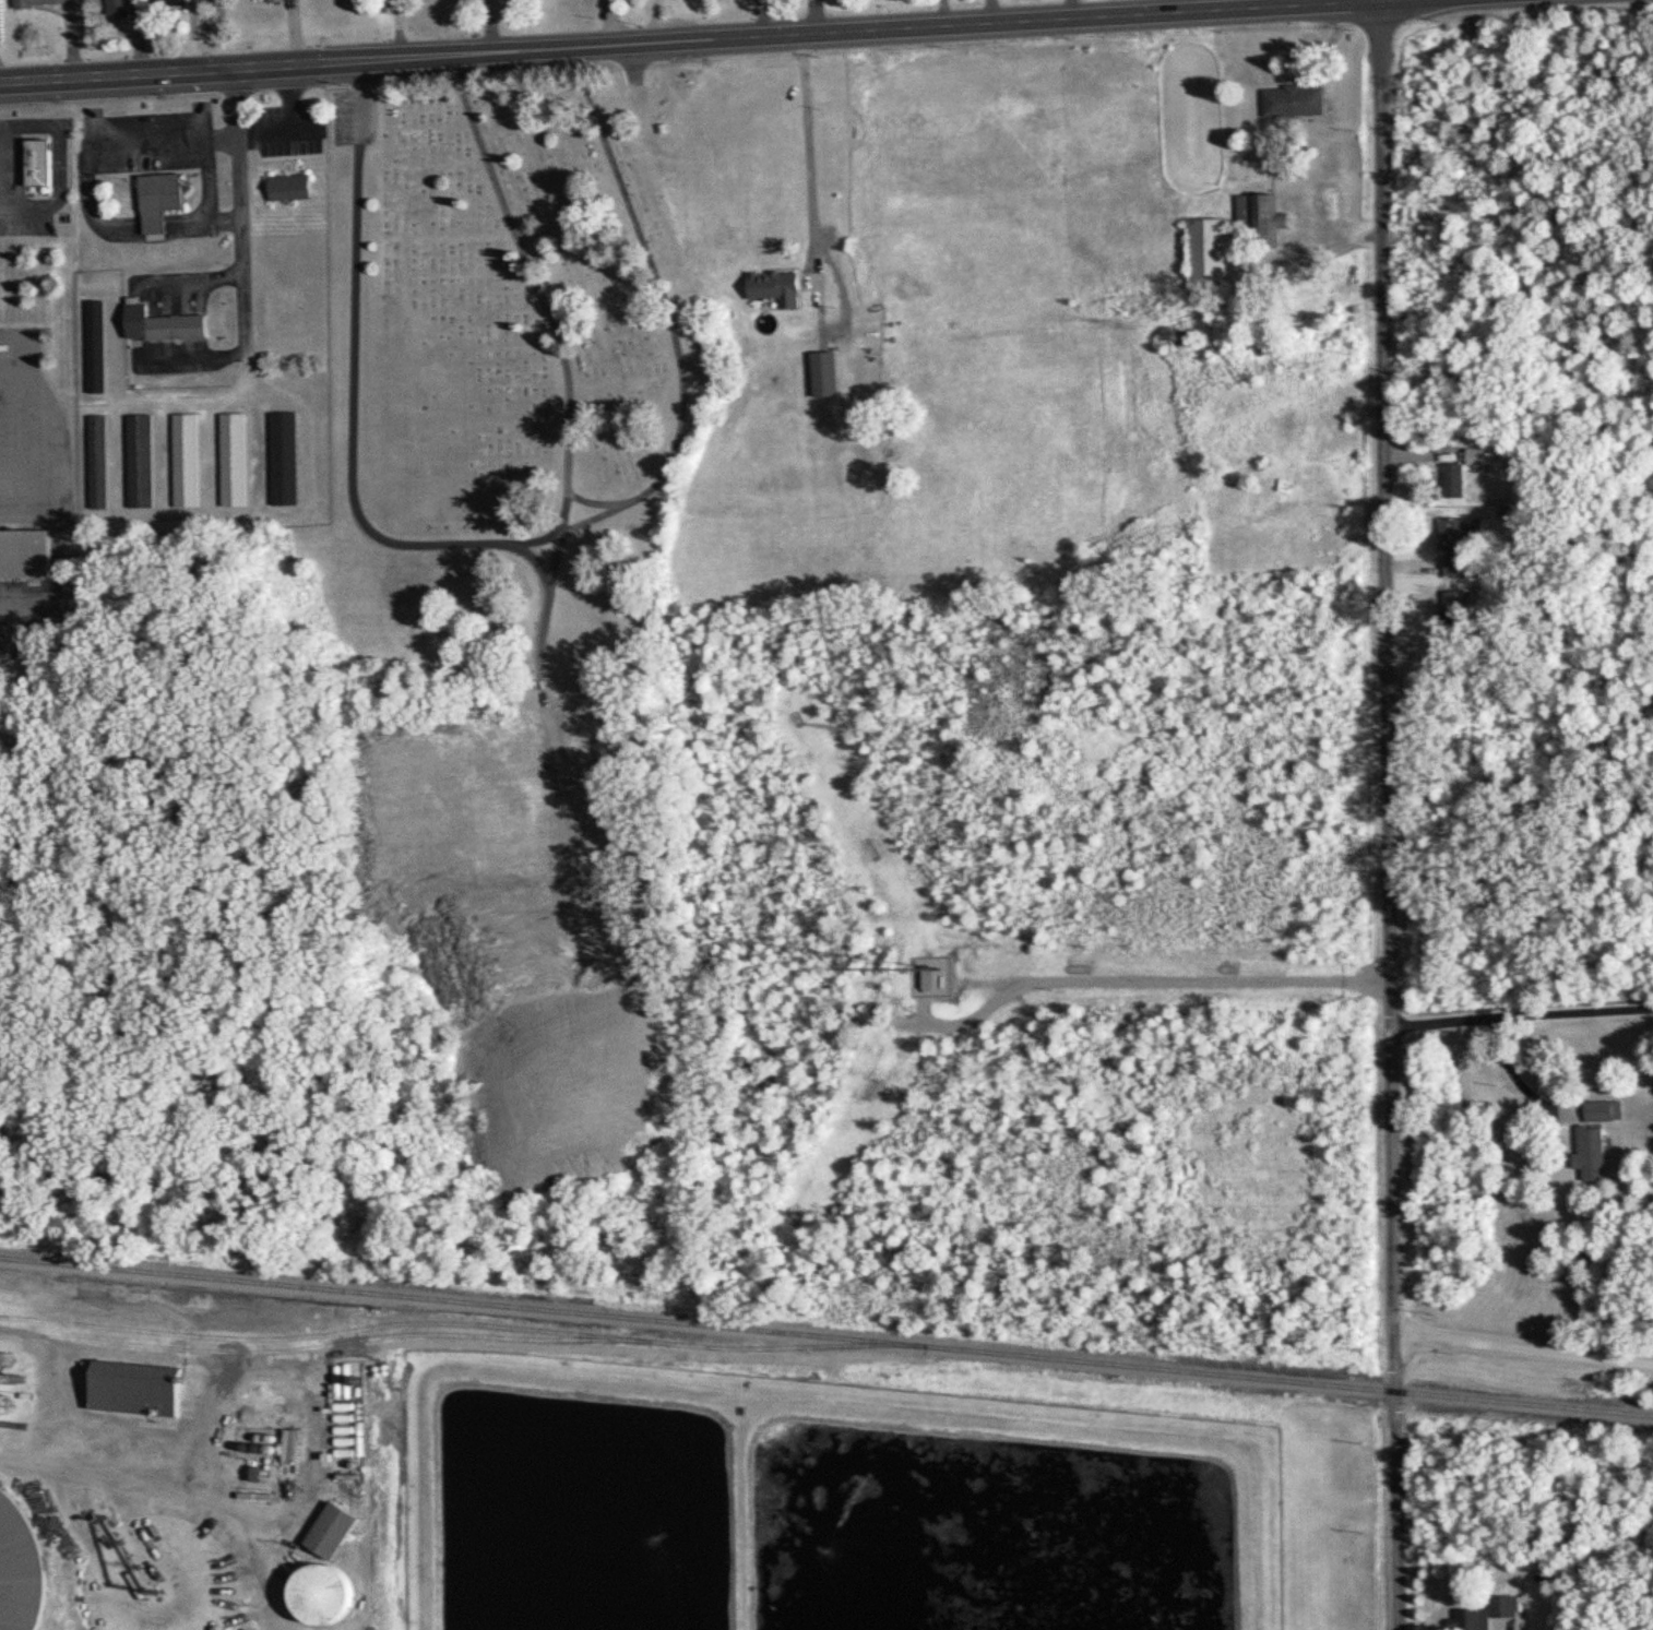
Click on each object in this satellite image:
building: (259, 0)
building: (179, 1)
building: (45, 2)
building: (122, 7)
road: (901, 29)
road: (194, 71)
building: (1297, 100)
road: (808, 138)
building: (41, 162)
building: (293, 187)
building: (162, 199)
building: (1274, 216)
building: (1212, 252)
building: (776, 288)
building: (165, 324)
building: (97, 346)
park: (527, 369)
building: (828, 374)
building: (1479, 455)
building: (235, 459)
building: (286, 459)
building: (141, 460)
building: (187, 460)
building: (98, 461)
building: (1455, 479)
building: (27, 551)
building: (1461, 567)
road: (1386, 816)
road: (1139, 981)
road: (1562, 1011)
road: (1491, 1032)
building: (1605, 1110)
building: (1597, 1154)
railway: (465, 1323)
railway: (826, 1334)
railway: (313, 1346)
road: (1522, 1349)
building: (136, 1385)
building: (332, 1564)
building: (23, 1566)
silo: (23, 1566)
building: (1491, 1615)

